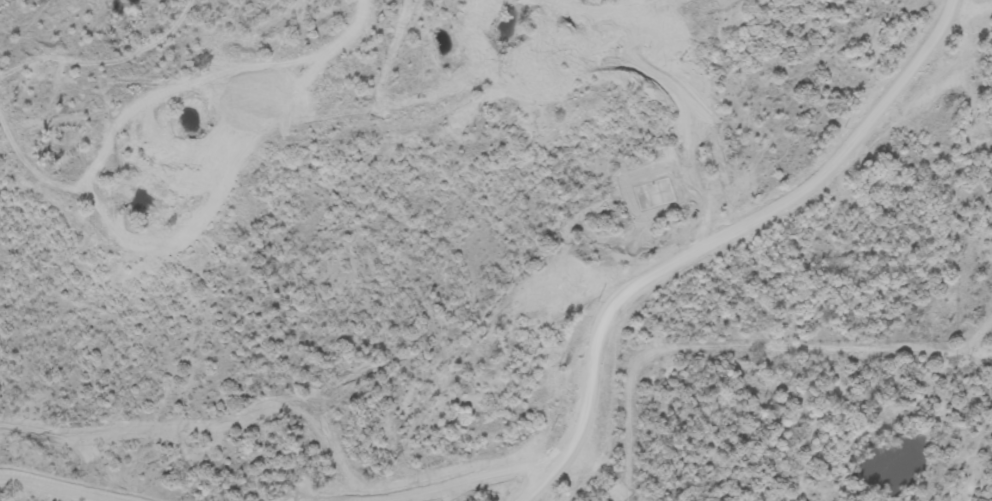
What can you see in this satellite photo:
road: (718, 241)
road: (740, 347)

